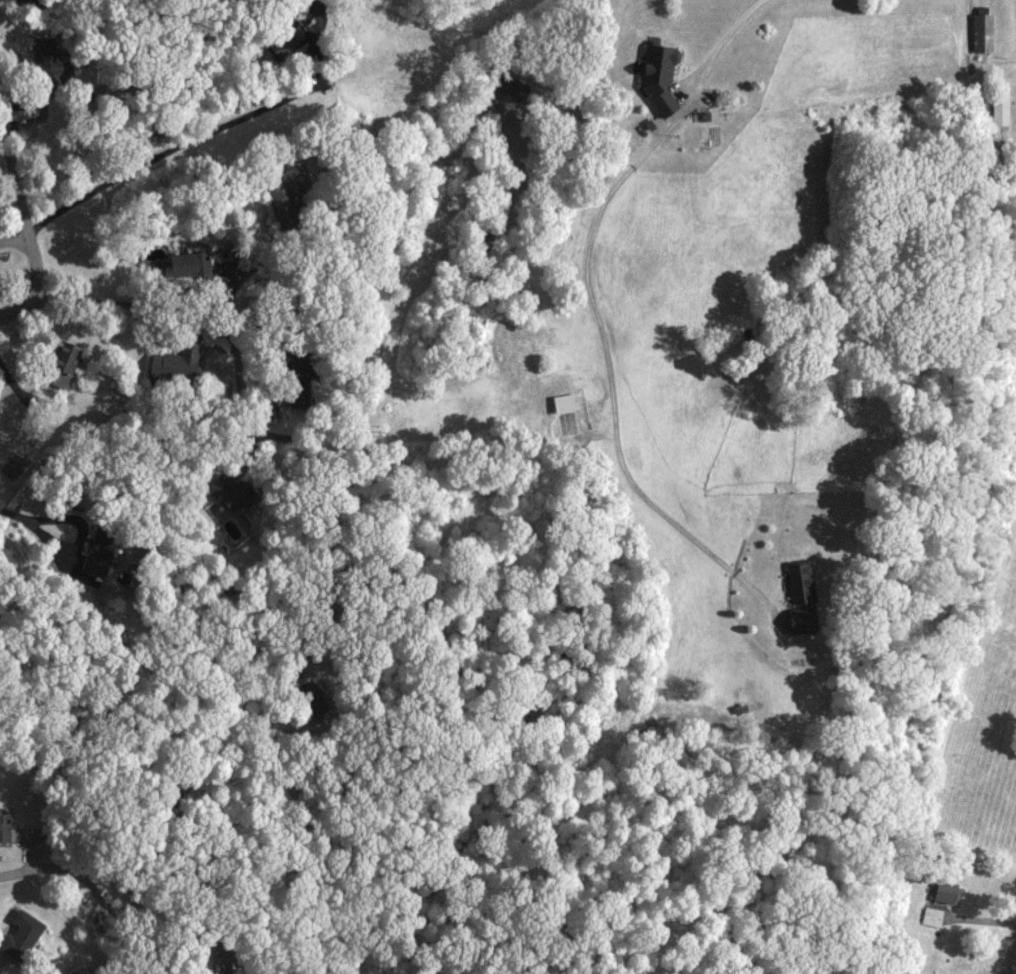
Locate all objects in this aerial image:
building: (984, 32)
building: (662, 77)
building: (998, 112)
road: (21, 196)
road: (14, 241)
building: (197, 266)
road: (15, 309)
road: (594, 317)
building: (178, 361)
building: (70, 364)
road: (240, 388)
building: (566, 403)
building: (803, 581)
building: (805, 619)
building: (5, 828)
road: (81, 877)
building: (945, 891)
building: (933, 916)
building: (23, 935)
road: (1009, 952)

